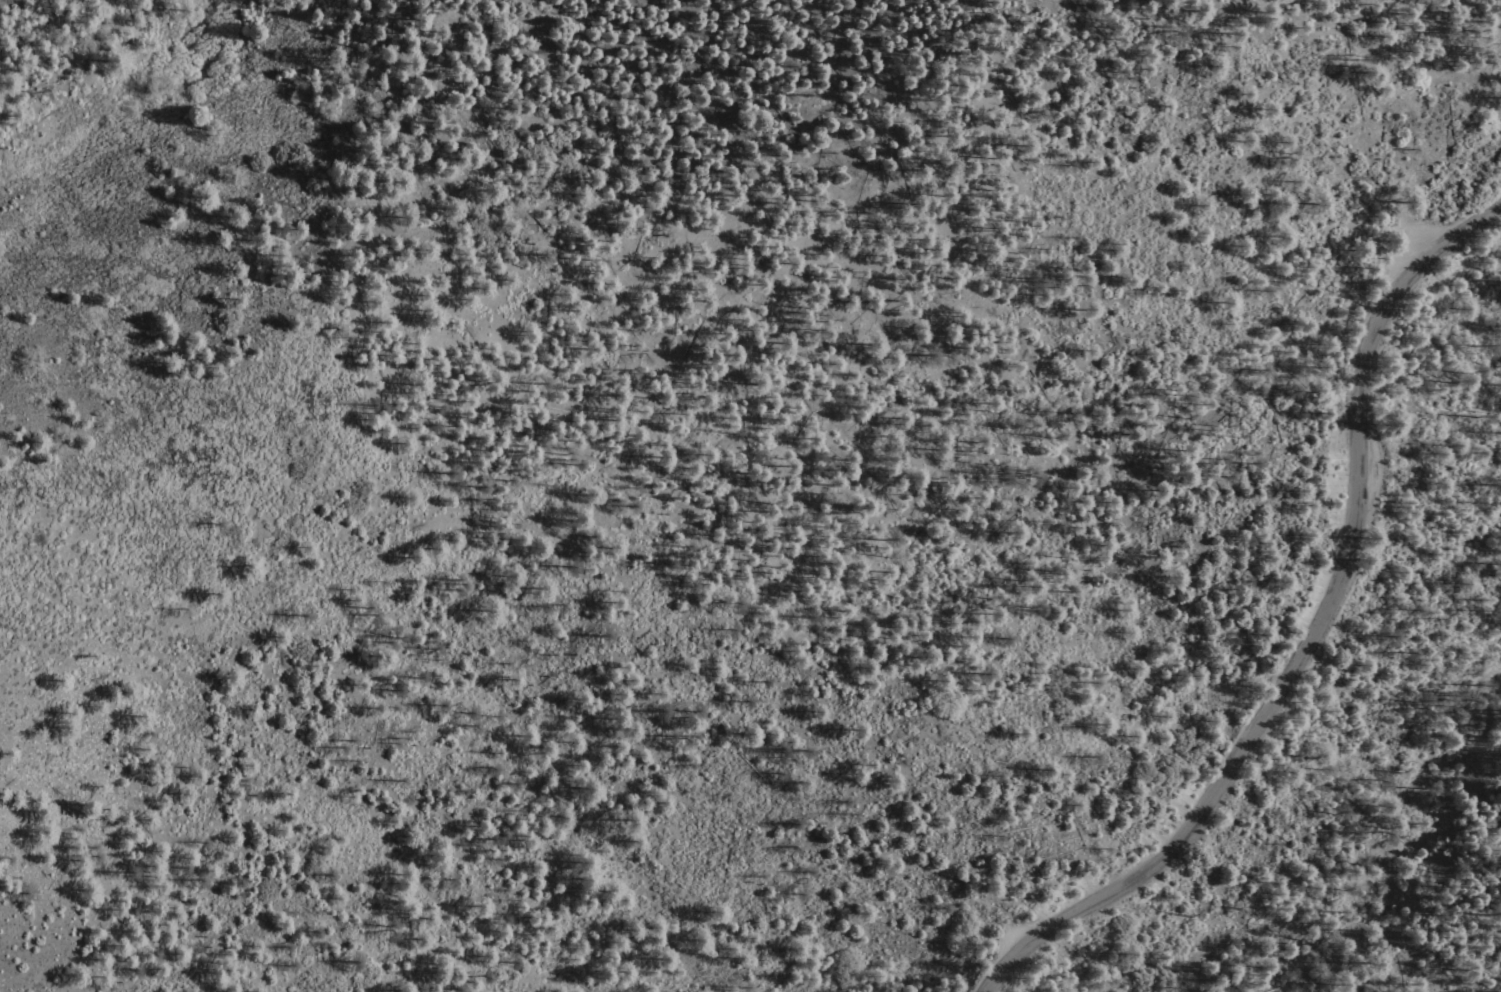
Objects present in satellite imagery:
parking lot: (1429, 245)
road: (1315, 636)

